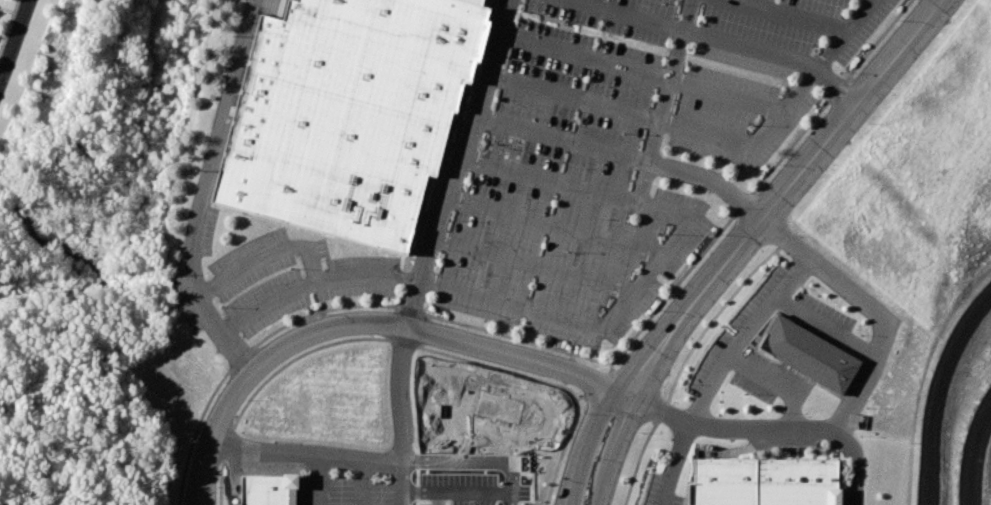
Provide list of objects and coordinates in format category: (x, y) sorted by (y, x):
building: (475, 1)
road: (11, 10)
road: (788, 16)
road: (693, 35)
road: (15, 39)
road: (590, 56)
road: (838, 89)
road: (230, 95)
road: (730, 95)
road: (577, 97)
road: (667, 100)
building: (347, 113)
road: (784, 113)
road: (628, 156)
road: (462, 164)
parking lot: (569, 165)
road: (782, 198)
road: (558, 226)
road: (265, 253)
road: (667, 255)
road: (535, 264)
road: (313, 283)
road: (196, 289)
road: (871, 308)
road: (365, 323)
road: (827, 327)
road: (965, 328)
building: (811, 354)
road: (722, 370)
road: (778, 383)
road: (400, 404)
road: (770, 429)
road: (931, 435)
road: (583, 444)
road: (616, 453)
road: (973, 453)
road: (308, 456)
road: (471, 461)
road: (315, 481)
building: (765, 482)
road: (359, 483)
building: (267, 489)
road: (463, 491)
parking lot: (353, 493)
road: (406, 494)
road: (426, 498)

